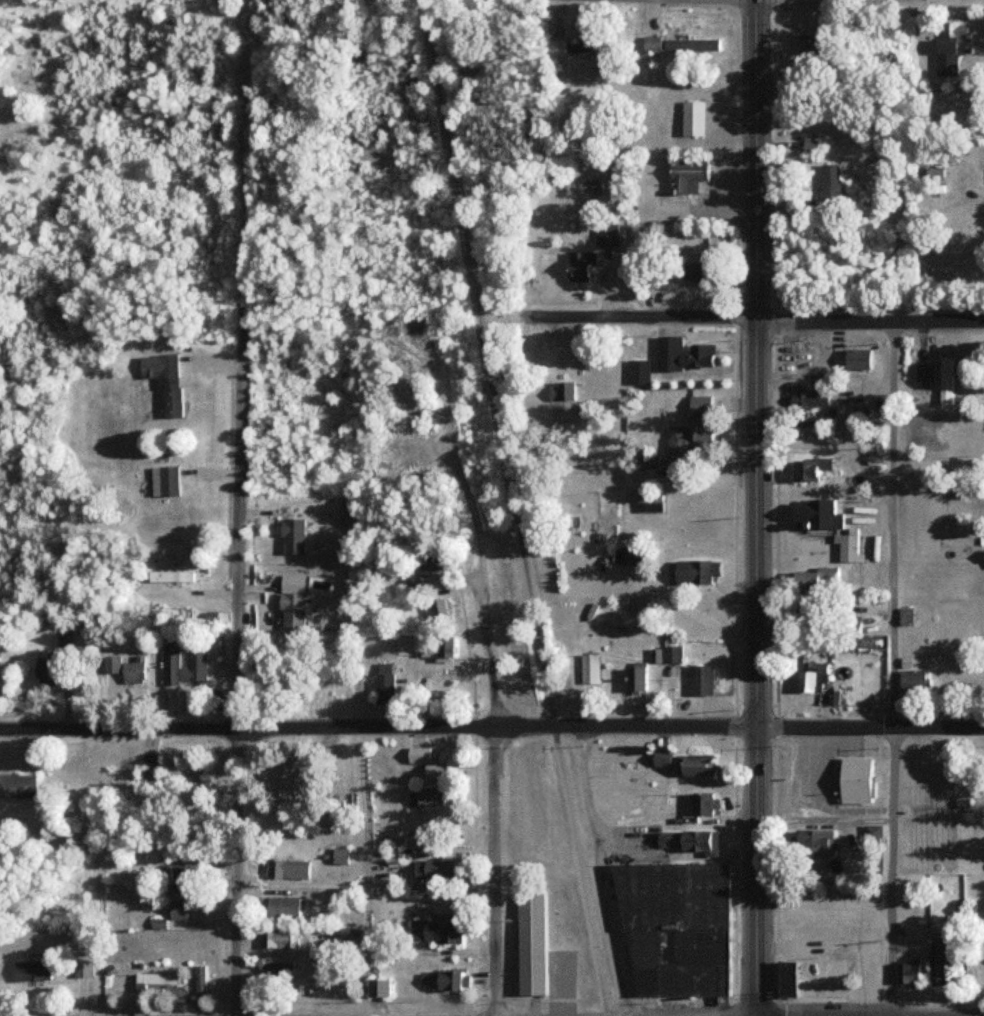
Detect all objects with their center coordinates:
building: (648, 44)
building: (689, 44)
building: (554, 48)
building: (948, 51)
building: (690, 118)
road: (246, 134)
building: (685, 177)
building: (828, 183)
building: (605, 234)
building: (577, 265)
building: (693, 271)
road: (756, 321)
building: (680, 354)
building: (854, 359)
building: (636, 372)
building: (922, 376)
building: (163, 381)
building: (559, 392)
building: (808, 397)
building: (691, 430)
building: (917, 435)
building: (646, 463)
building: (164, 481)
road: (513, 507)
road: (754, 507)
building: (814, 515)
building: (692, 530)
building: (291, 536)
building: (846, 548)
building: (630, 555)
building: (982, 556)
building: (427, 564)
building: (692, 571)
building: (168, 576)
building: (811, 578)
building: (434, 608)
building: (290, 611)
building: (433, 652)
building: (665, 654)
road: (237, 660)
building: (182, 667)
building: (588, 669)
road: (893, 669)
building: (124, 670)
building: (44, 671)
building: (809, 677)
building: (634, 679)
building: (698, 680)
building: (912, 681)
building: (382, 683)
road: (491, 726)
building: (432, 766)
building: (693, 767)
building: (181, 778)
building: (145, 779)
building: (852, 781)
building: (17, 787)
building: (286, 792)
road: (492, 794)
building: (429, 797)
building: (701, 804)
building: (685, 842)
building: (812, 843)
building: (338, 857)
building: (433, 867)
building: (286, 870)
building: (181, 880)
building: (279, 908)
building: (178, 910)
building: (672, 924)
building: (433, 932)
building: (276, 939)
building: (527, 942)
building: (830, 947)
building: (83, 968)
building: (935, 968)
building: (31, 971)
building: (280, 971)
building: (906, 974)
building: (154, 979)
building: (783, 980)
building: (832, 980)
building: (447, 982)
building: (375, 989)

